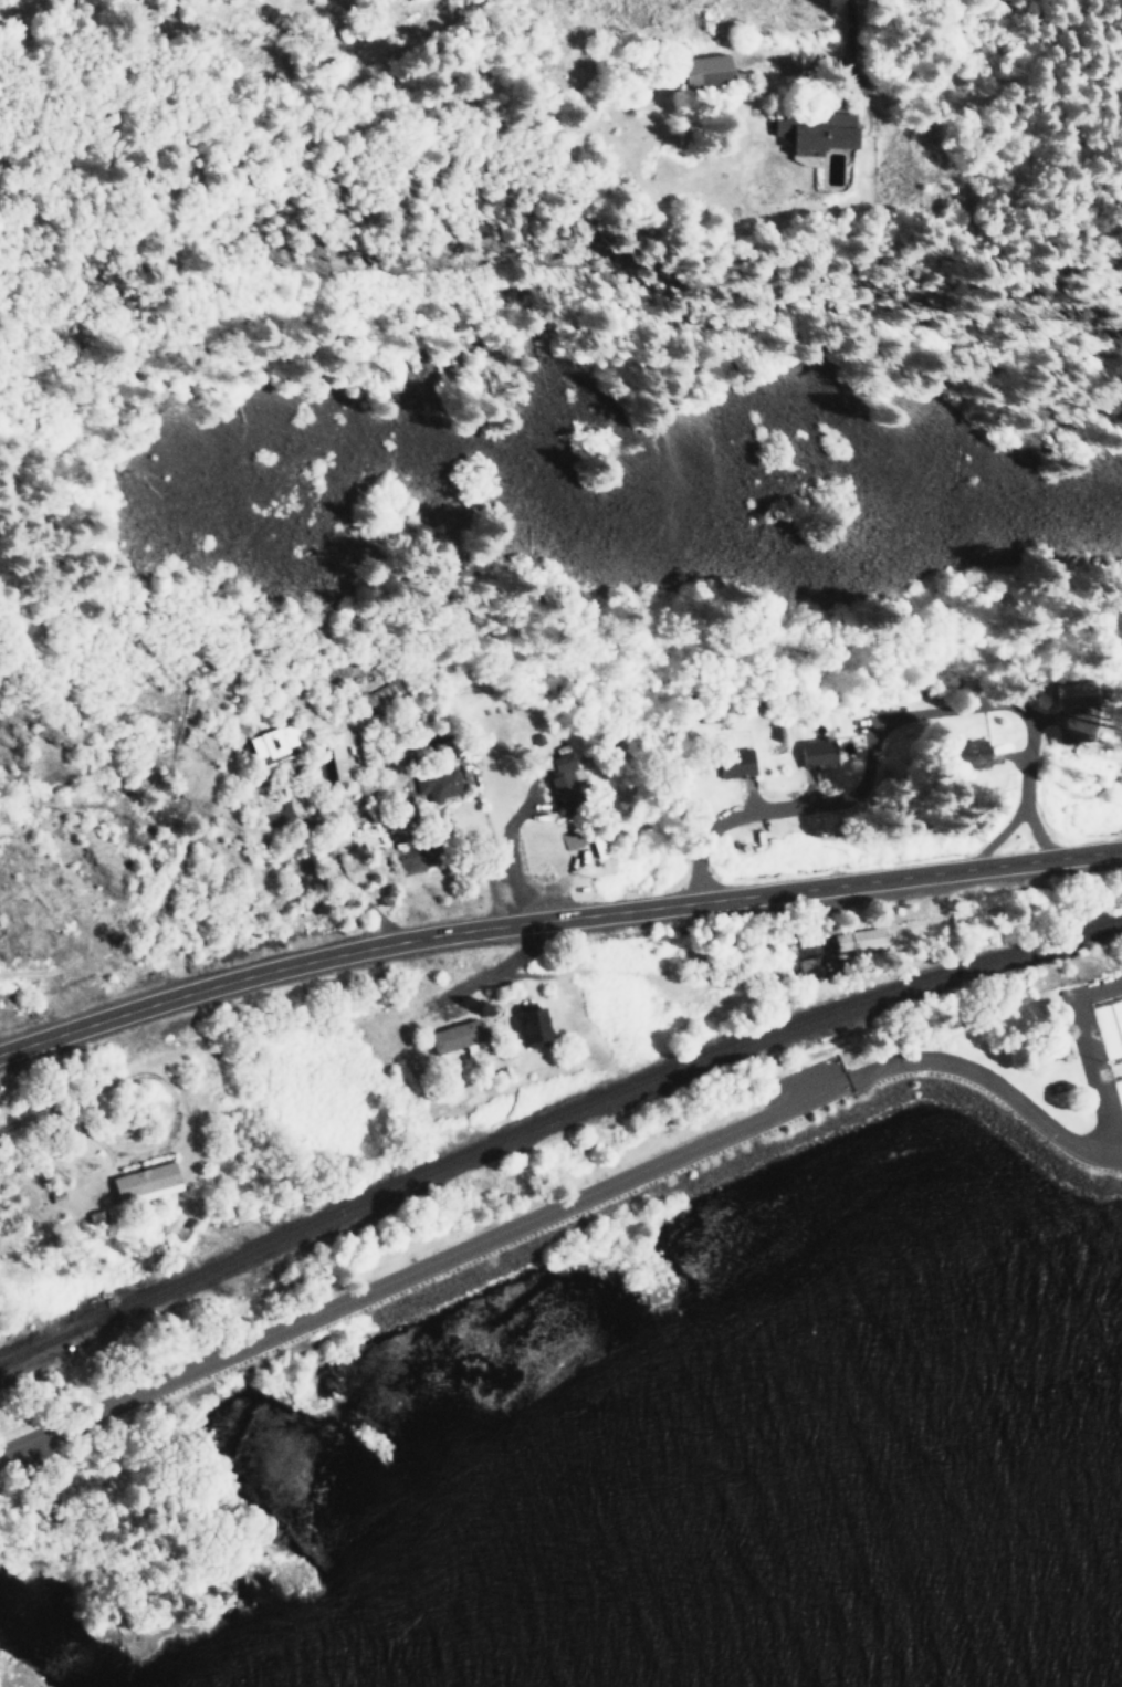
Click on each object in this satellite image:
road: (858, 116)
road: (878, 730)
road: (554, 921)
road: (507, 966)
parking lot: (807, 1081)
road: (67, 1111)
railway: (553, 1120)
road: (564, 1205)
railway: (28, 1348)
parking lot: (22, 1458)

